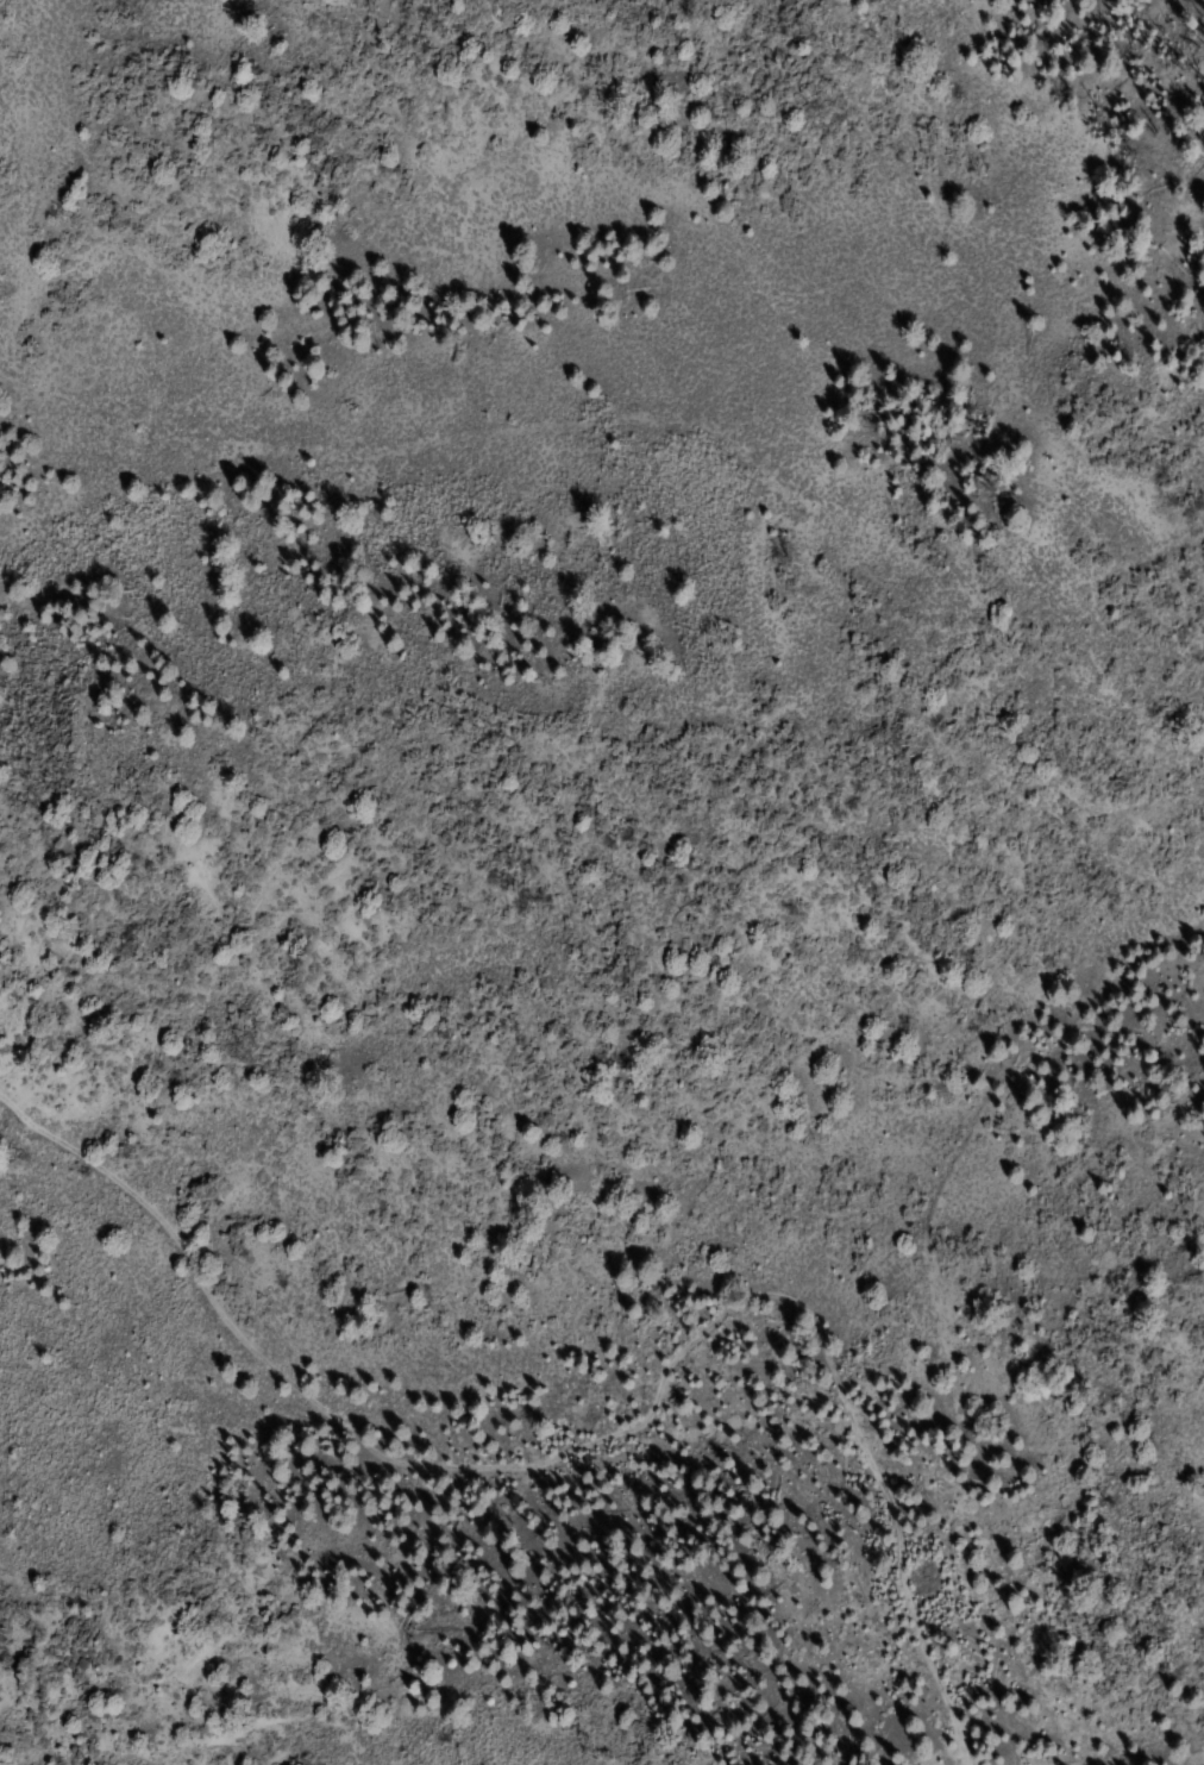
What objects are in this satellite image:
road: (410, 445)
road: (602, 1447)

